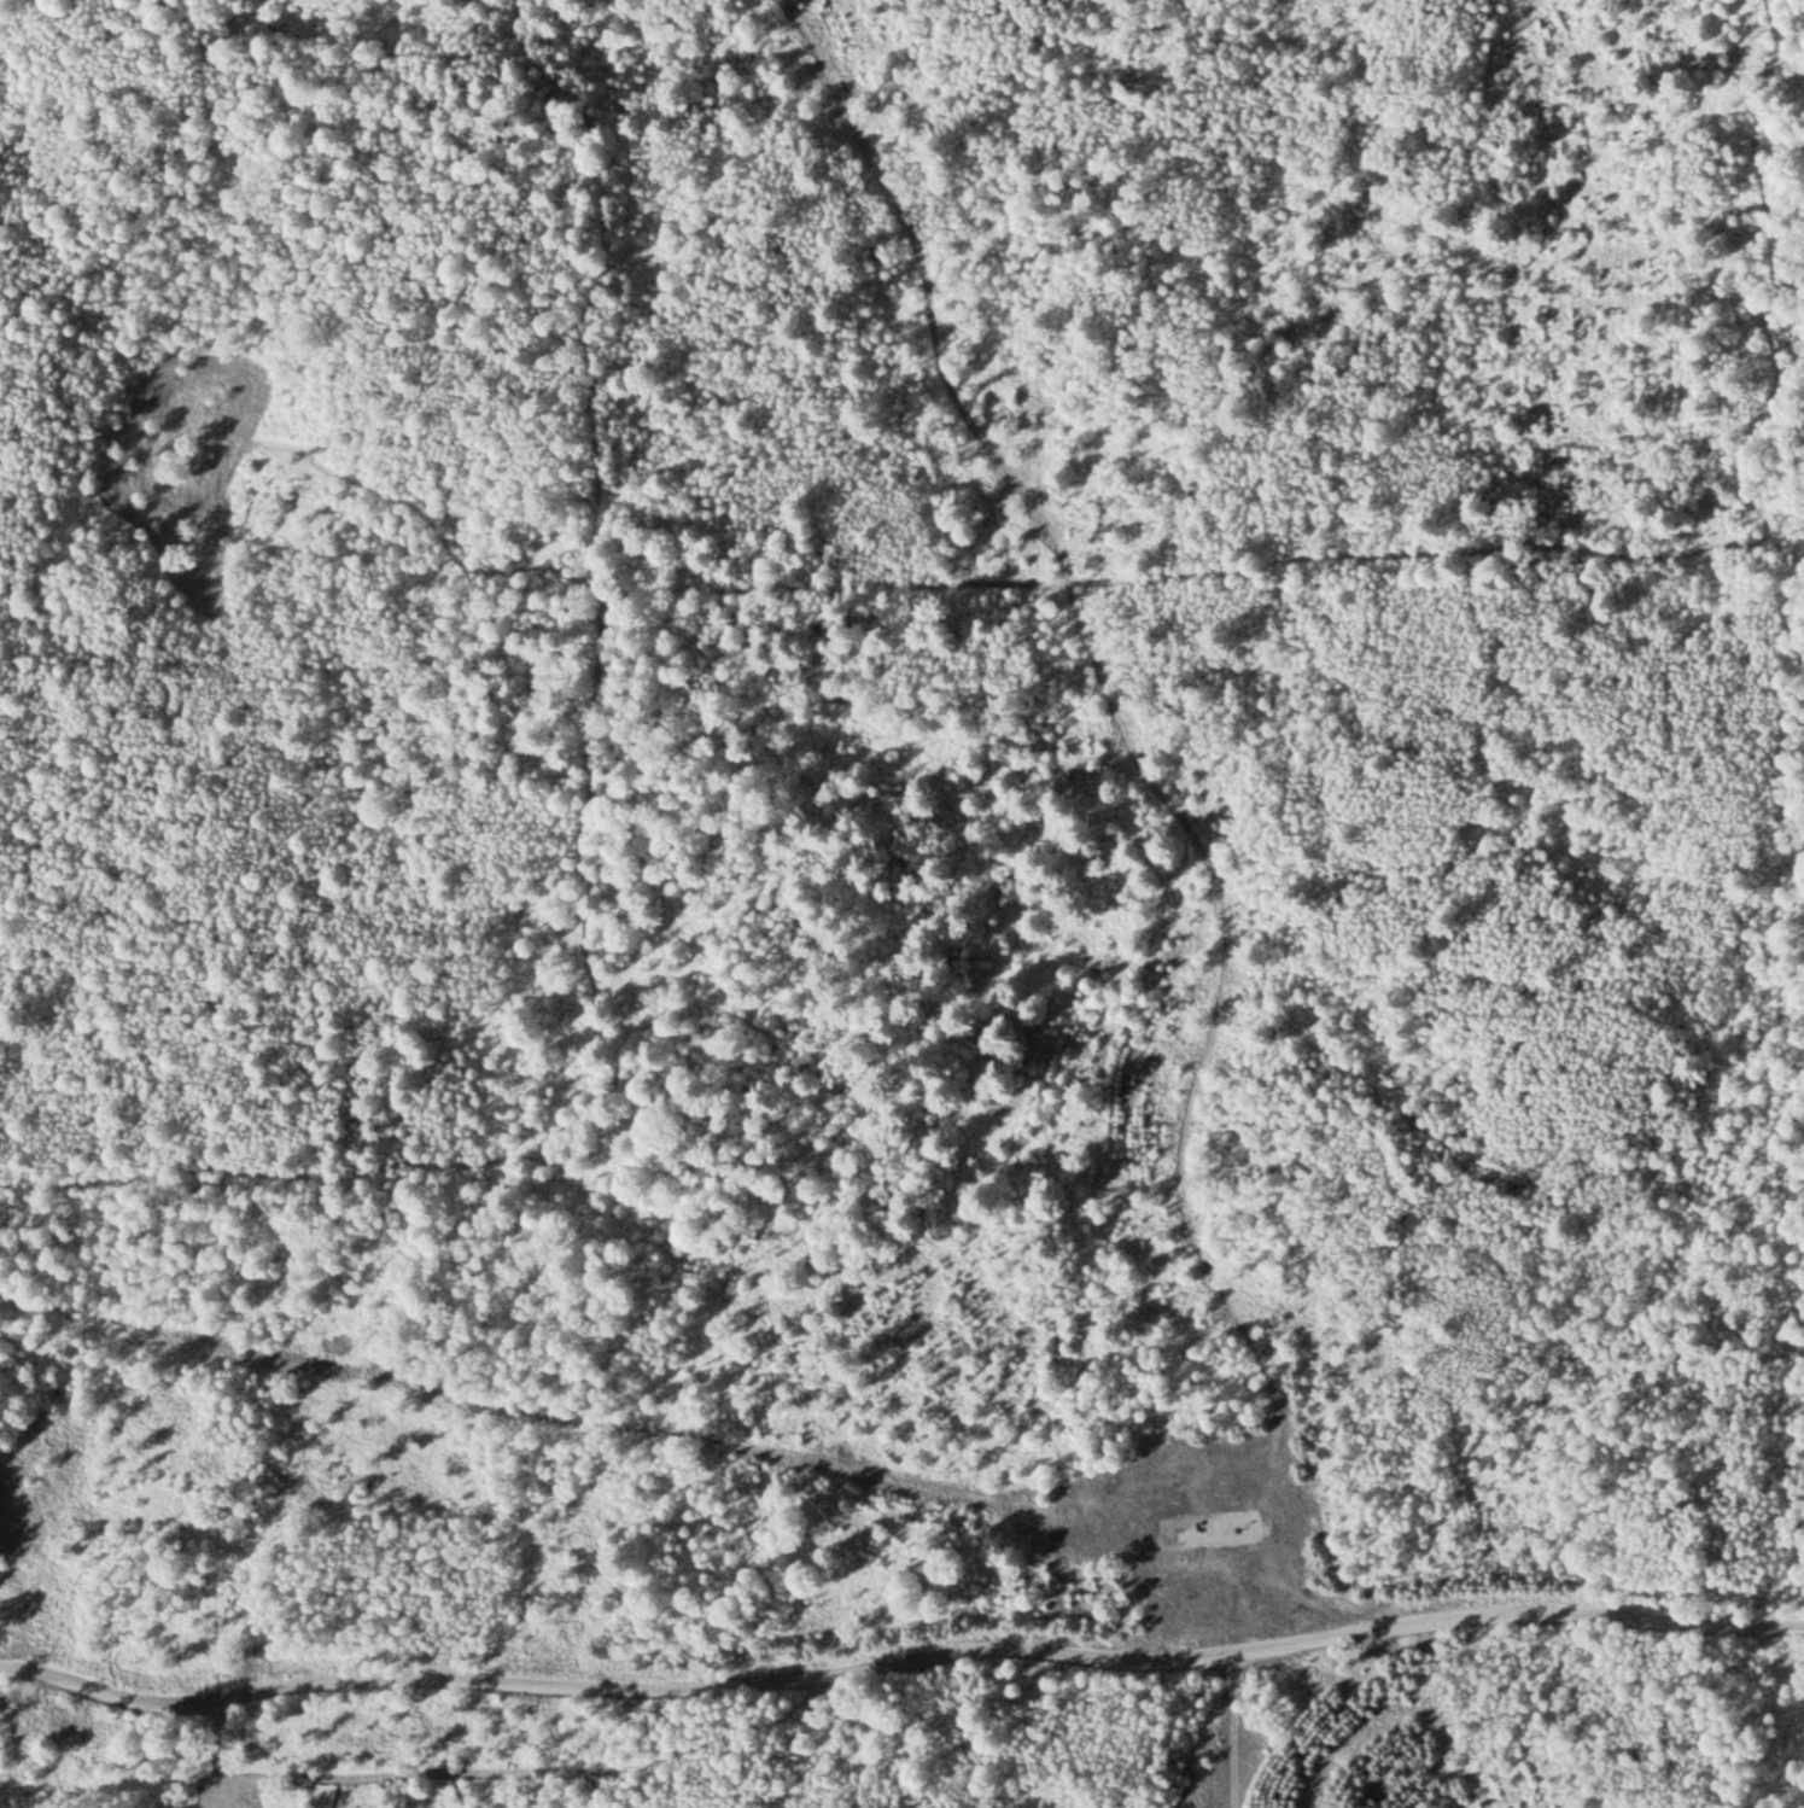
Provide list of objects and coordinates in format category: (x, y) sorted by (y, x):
road: (1143, 737)
road: (1069, 1511)
building: (1142, 1518)
petroleum well: (1236, 1527)
road: (1215, 1535)
road: (1291, 1590)
road: (899, 1662)
road: (1234, 1732)

